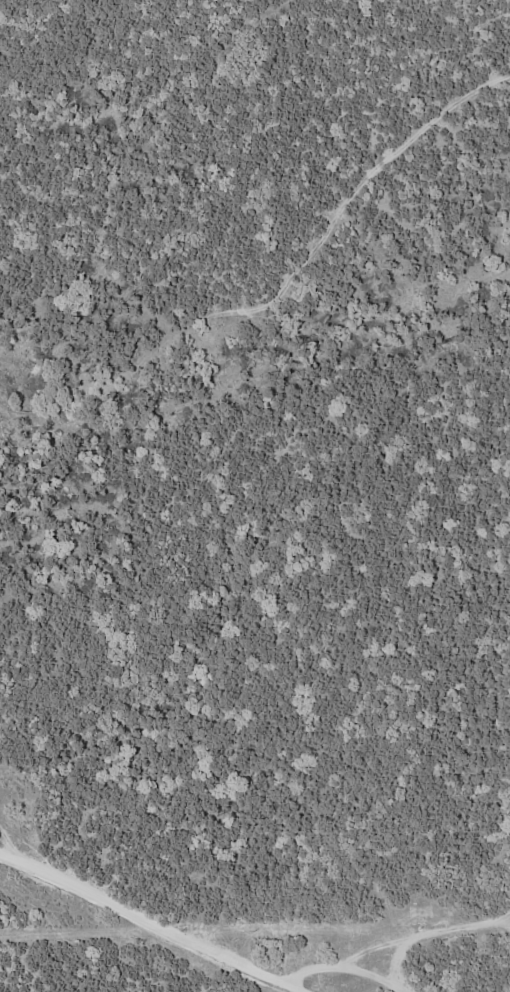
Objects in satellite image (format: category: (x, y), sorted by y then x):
road: (150, 923)
road: (348, 964)

